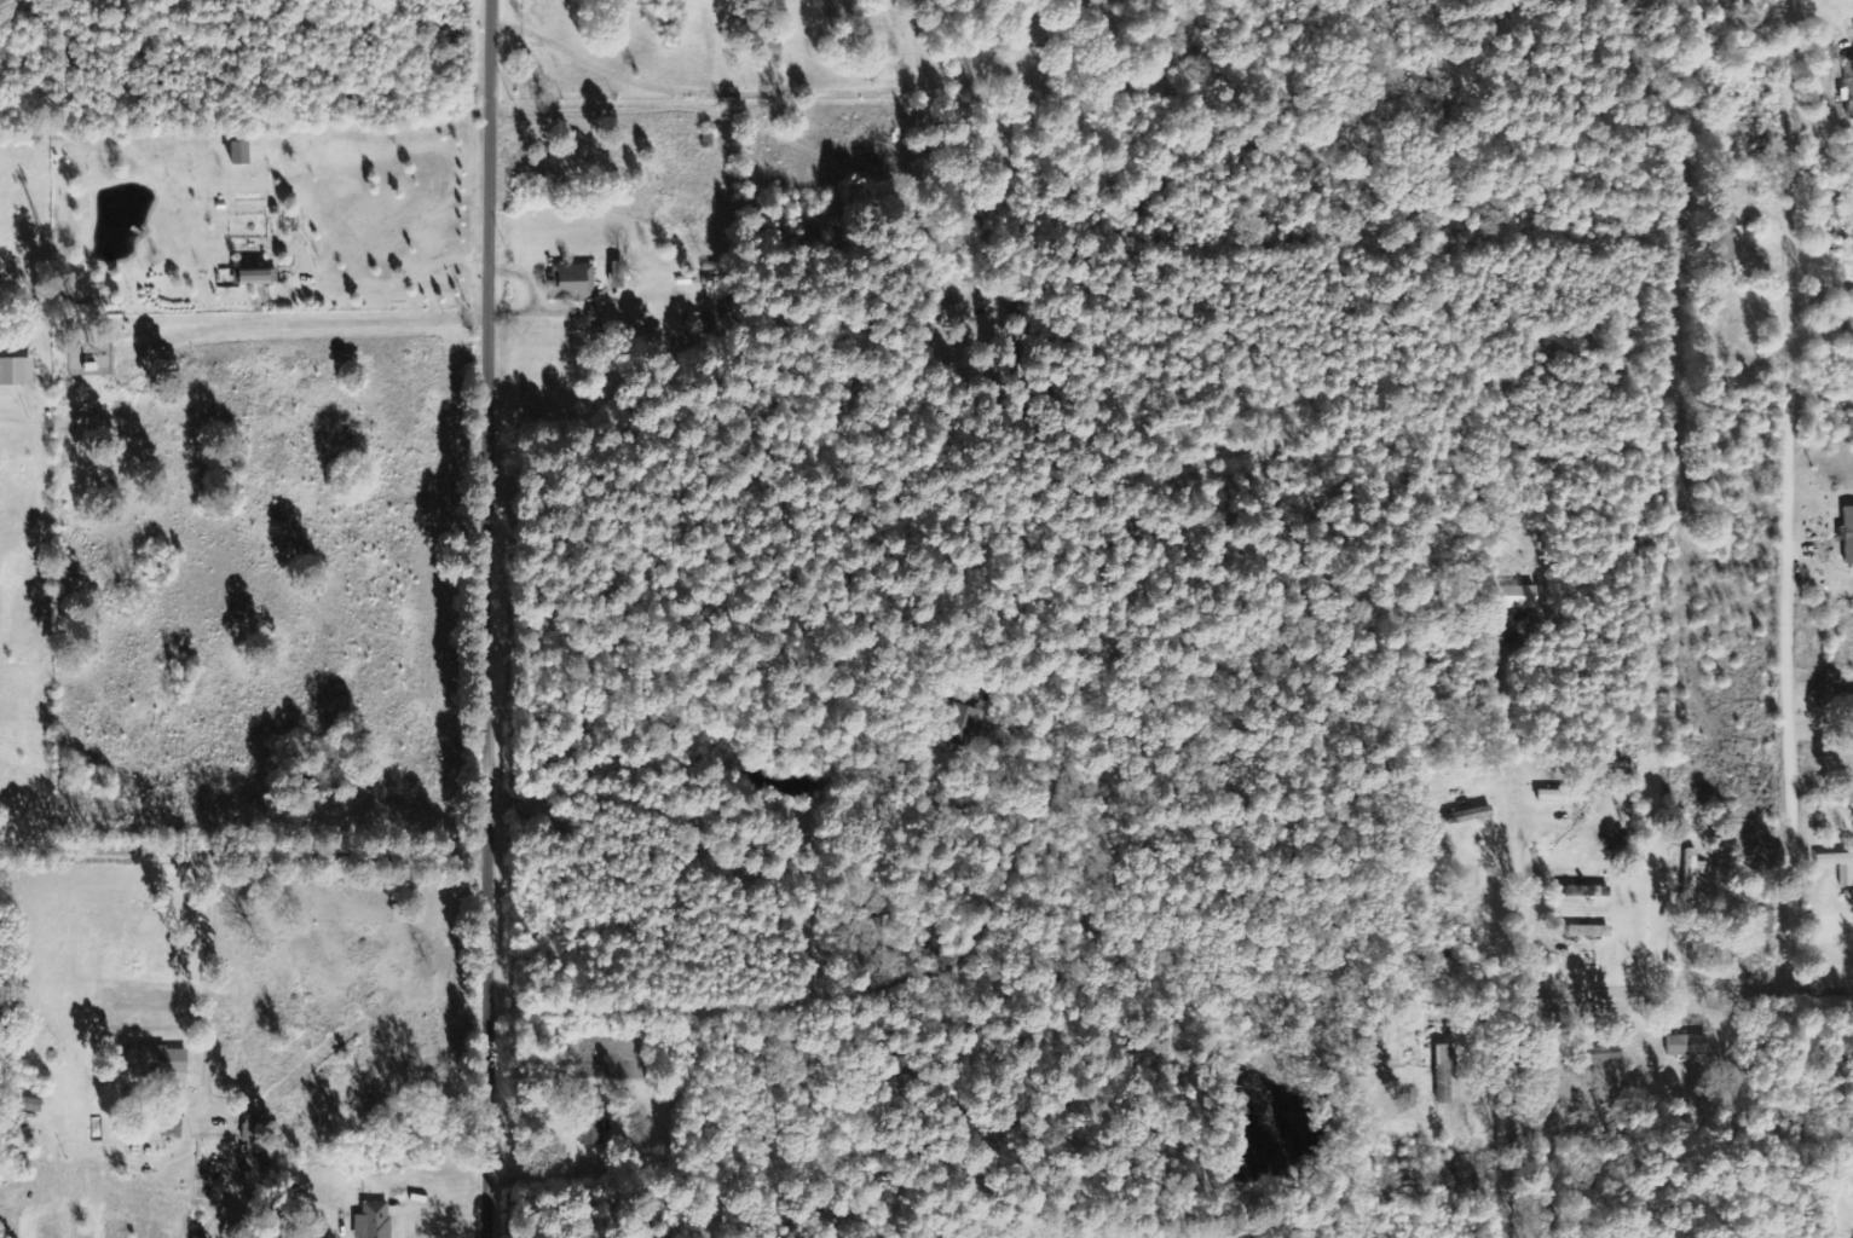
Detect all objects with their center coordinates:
building: (1045, 29)
building: (774, 52)
building: (1849, 88)
building: (241, 154)
building: (1730, 238)
building: (258, 278)
building: (573, 283)
road: (735, 317)
building: (1851, 320)
building: (700, 322)
building: (16, 372)
road: (1800, 511)
building: (1849, 534)
building: (1514, 597)
road: (504, 619)
road: (728, 700)
building: (966, 725)
road: (252, 854)
building: (1692, 877)
building: (1847, 878)
building: (1583, 892)
road: (1536, 902)
building: (1766, 924)
building: (1587, 932)
road: (1580, 993)
building: (1687, 1046)
building: (1604, 1055)
building: (156, 1060)
building: (1441, 1070)
building: (596, 1121)
building: (253, 1140)
building: (374, 1221)

